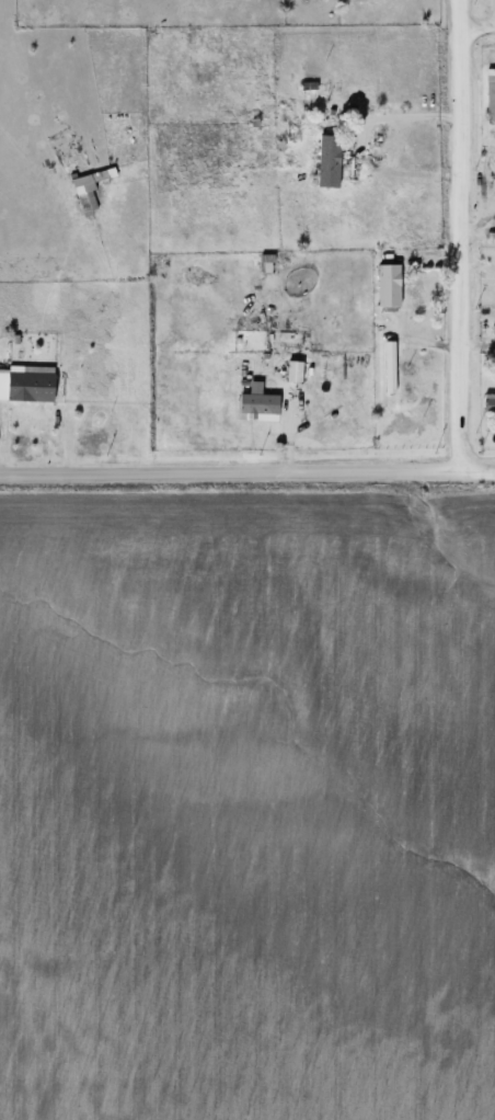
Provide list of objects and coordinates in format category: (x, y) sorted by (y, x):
road: (475, 23)
building: (492, 108)
road: (352, 140)
building: (332, 163)
building: (84, 183)
road: (456, 240)
building: (35, 388)
building: (491, 400)
building: (261, 404)
road: (246, 480)

